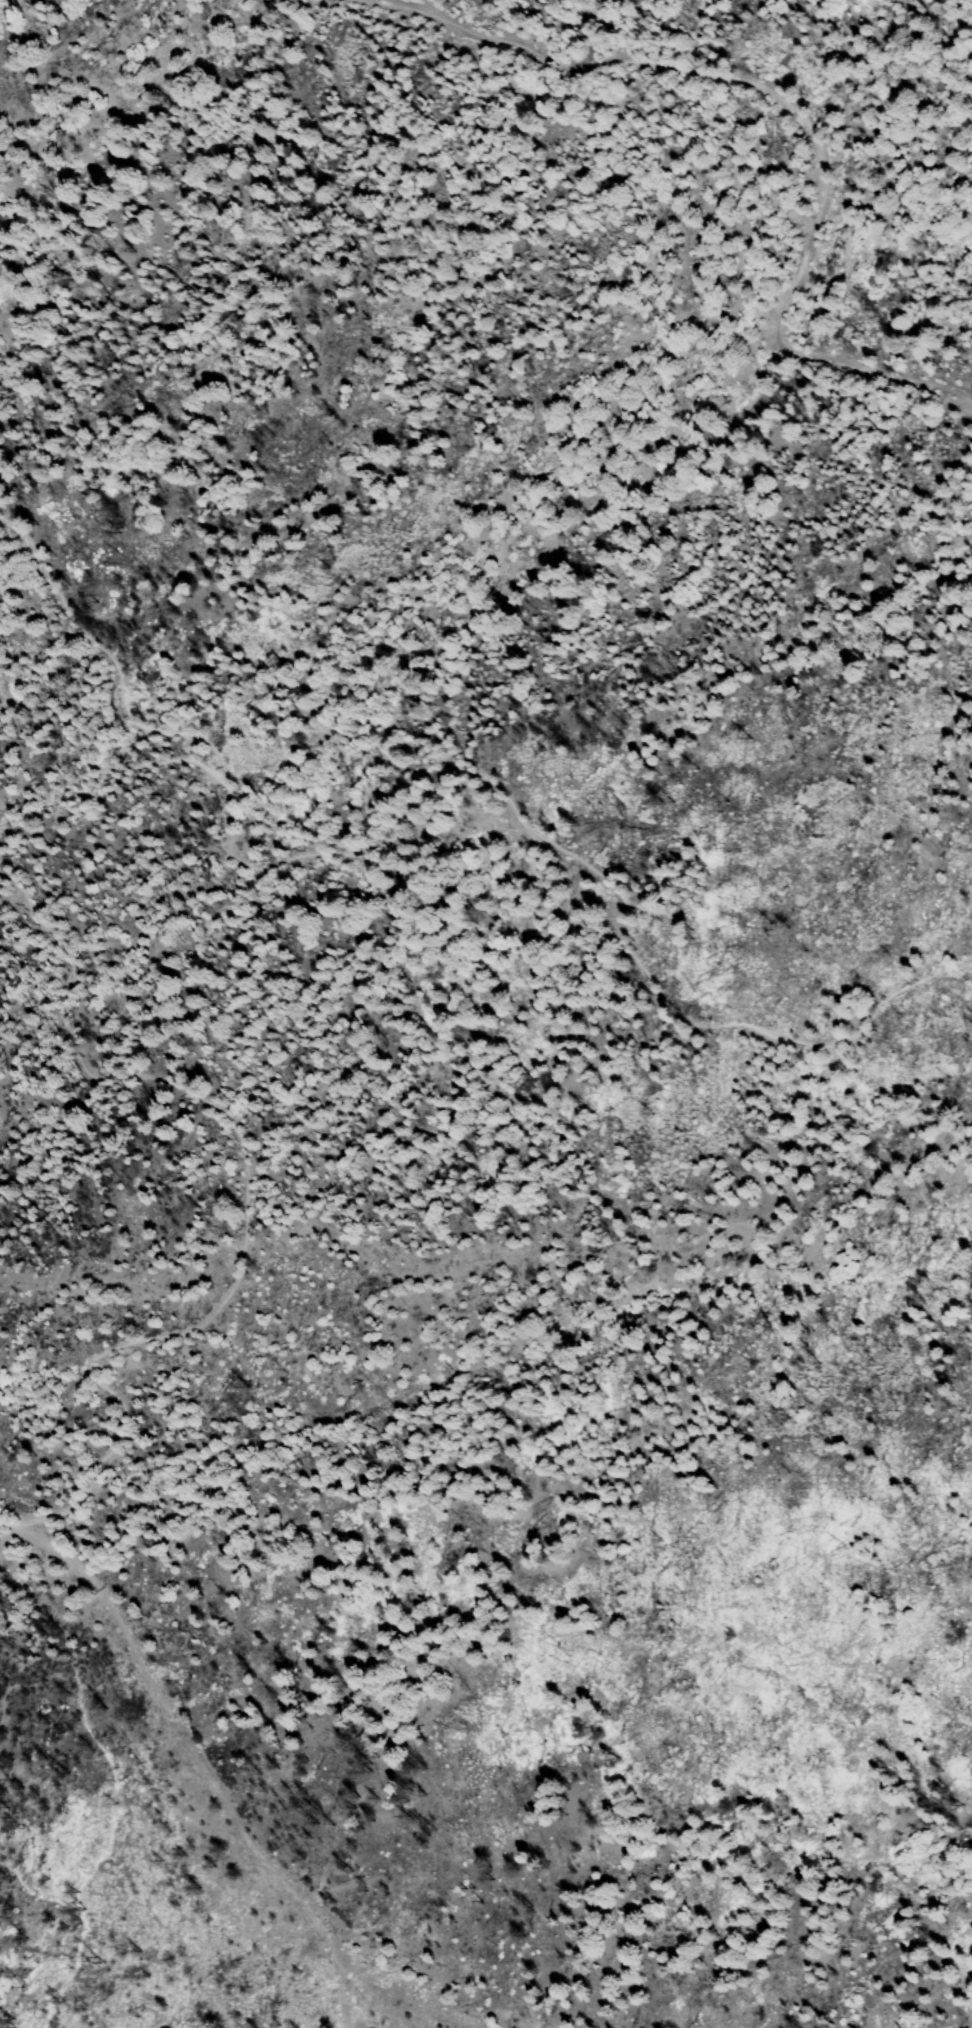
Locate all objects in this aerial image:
road: (203, 1763)

